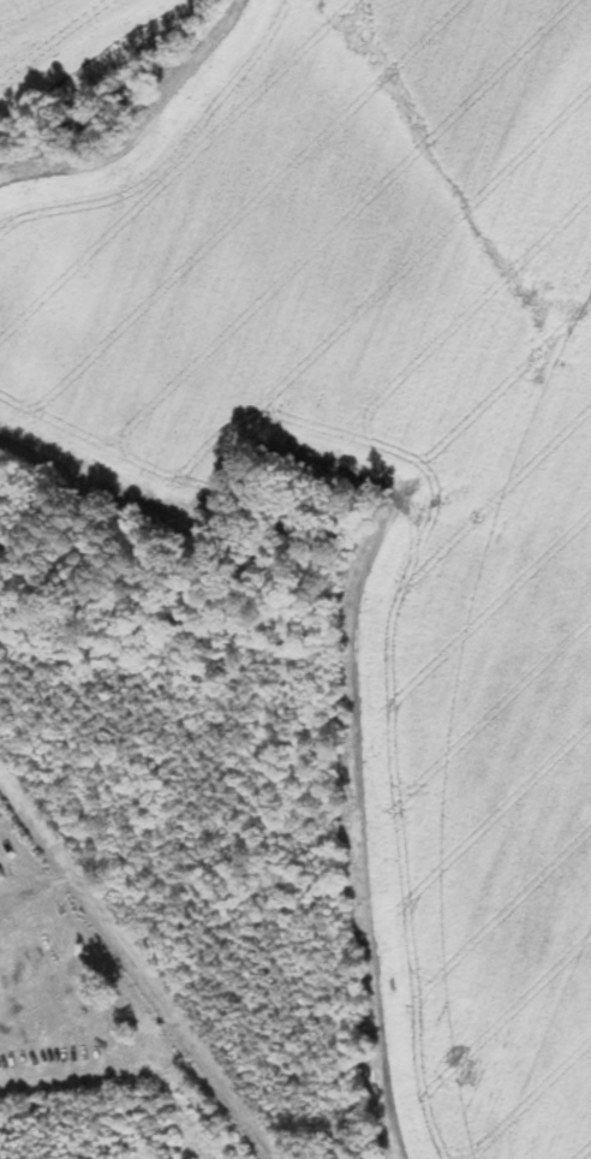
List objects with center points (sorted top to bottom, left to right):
building: (1, 875)

